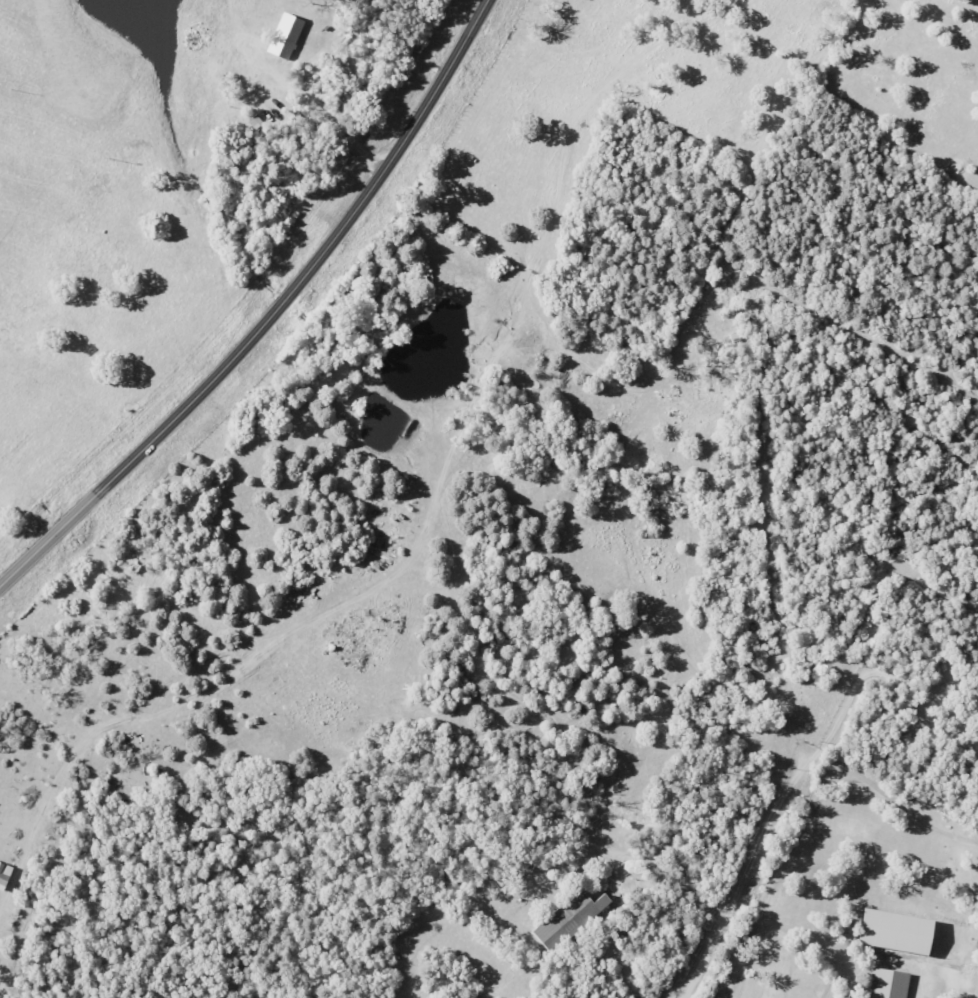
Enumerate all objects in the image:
building: (283, 36)
road: (270, 315)
road: (794, 778)
building: (3, 874)
road: (671, 877)
building: (565, 919)
building: (890, 932)
building: (884, 984)

